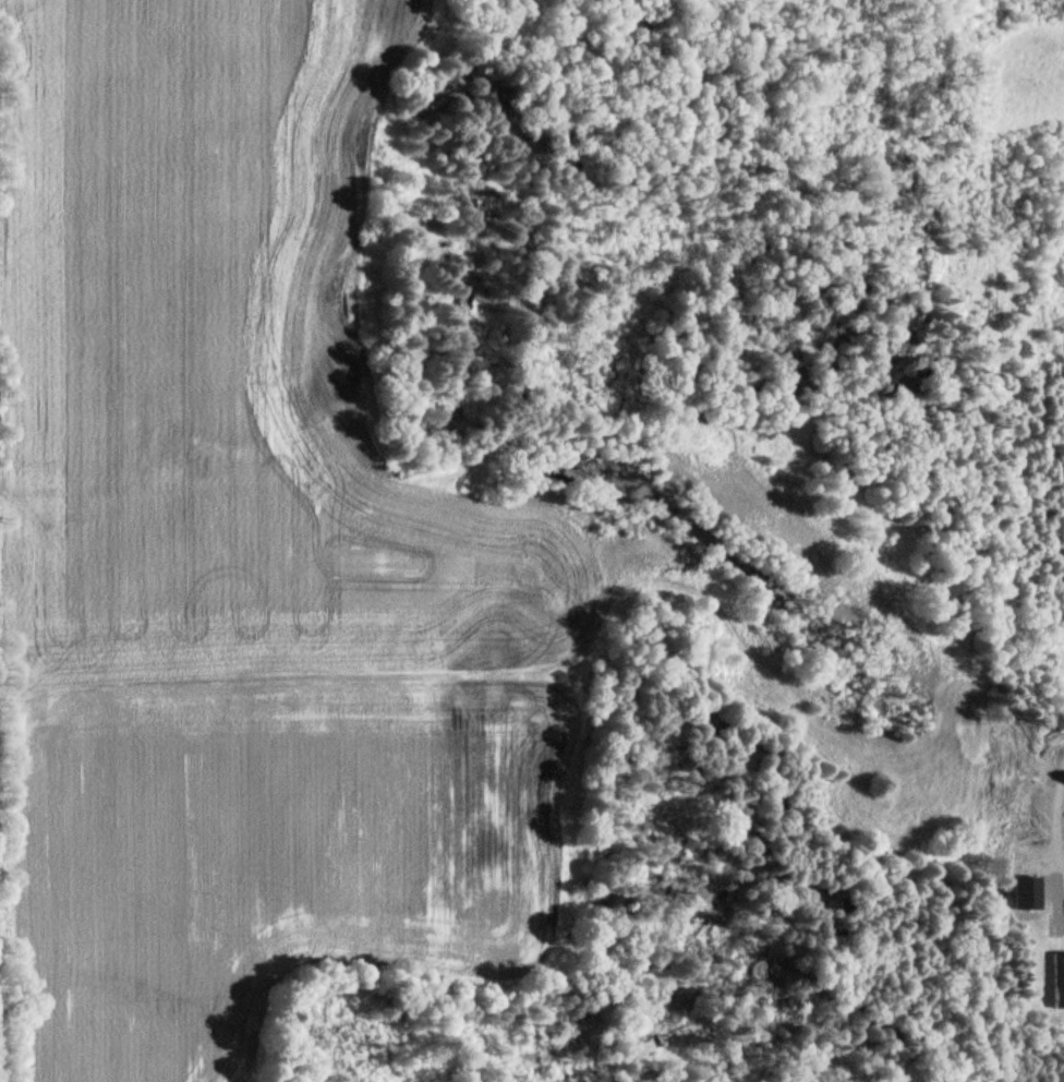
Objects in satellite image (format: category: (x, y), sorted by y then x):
building: (1029, 892)
building: (1060, 978)

